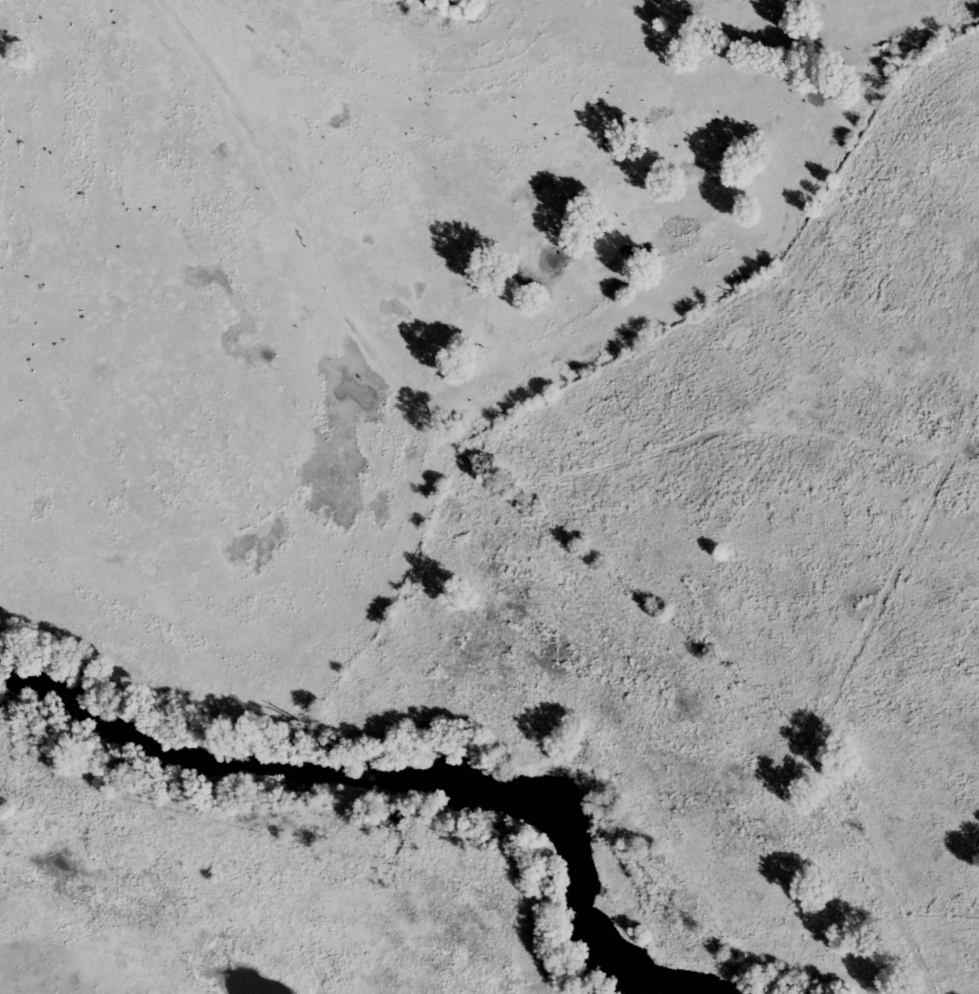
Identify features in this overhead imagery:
road: (314, 273)
road: (755, 456)

